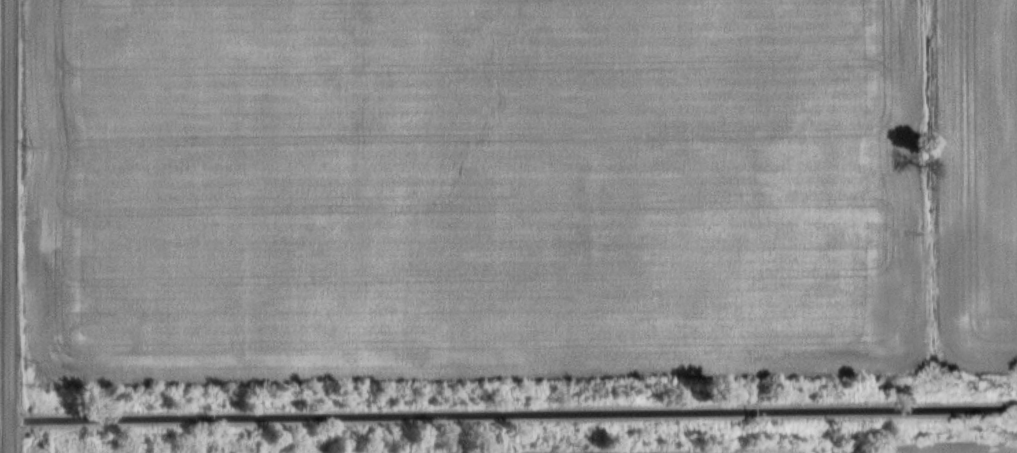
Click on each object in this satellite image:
road: (14, 226)
road: (516, 407)
road: (7, 414)

